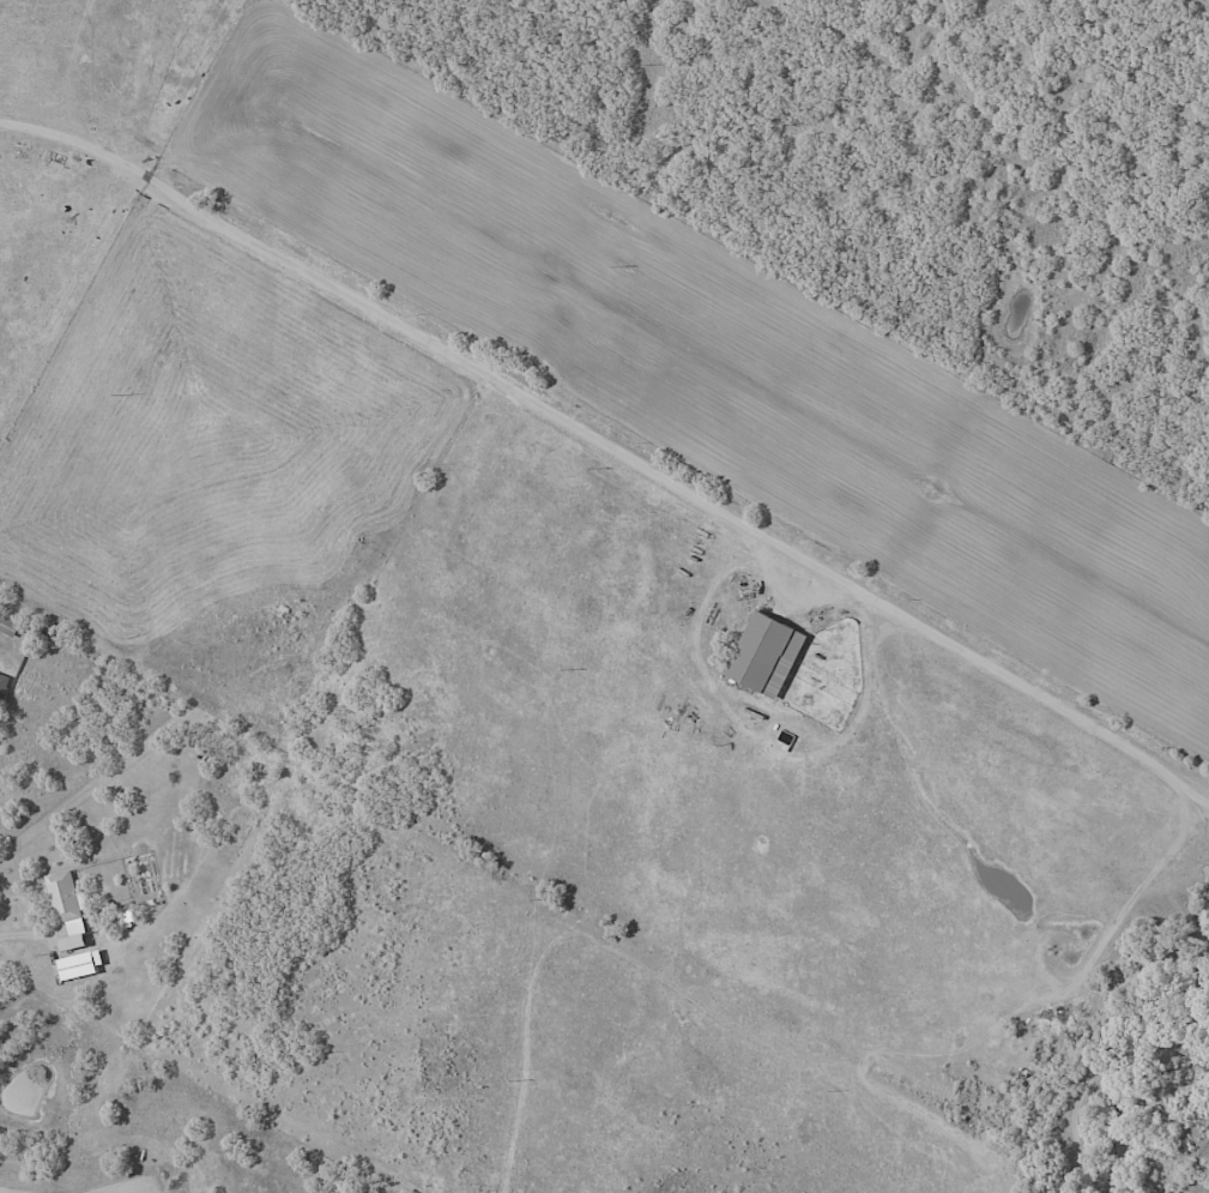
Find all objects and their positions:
building: (56, 161)
road: (607, 494)
building: (8, 627)
building: (772, 655)
building: (5, 685)
building: (200, 754)
building: (68, 909)

